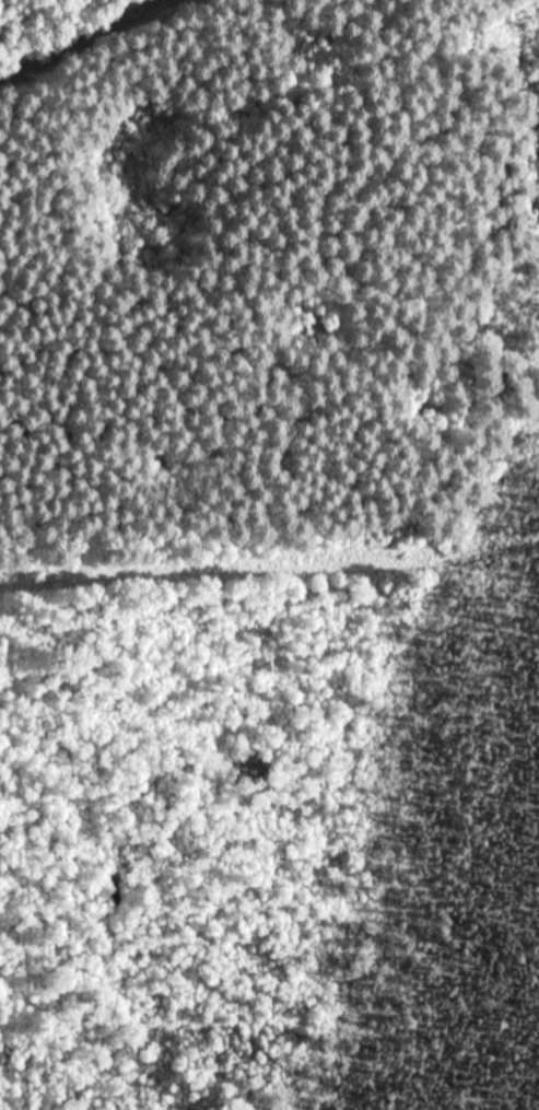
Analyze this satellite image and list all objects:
road: (84, 39)

